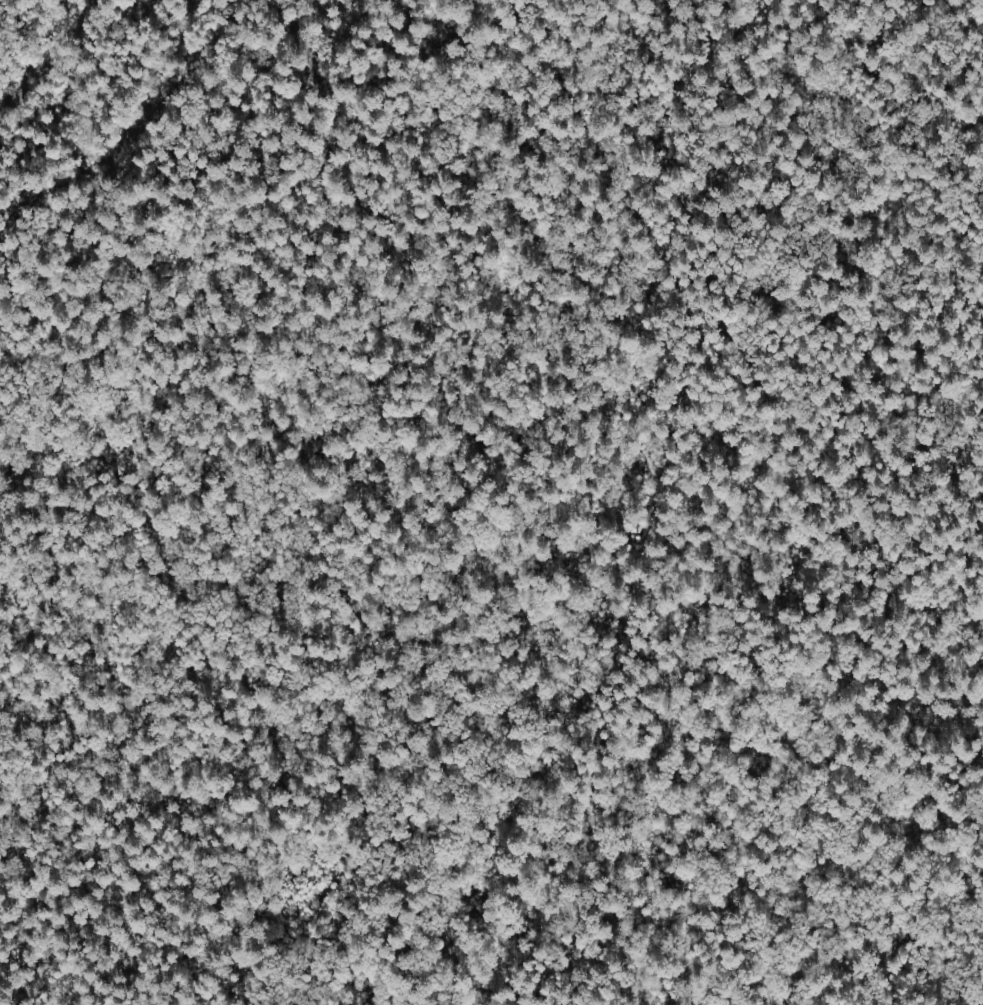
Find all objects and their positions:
road: (655, 487)

